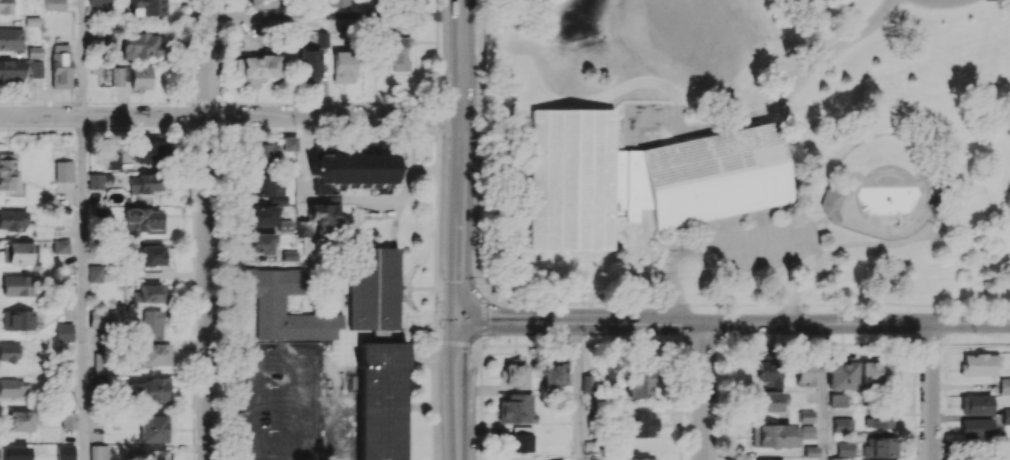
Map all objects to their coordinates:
road: (941, 2)
building: (262, 3)
building: (54, 5)
building: (339, 5)
building: (9, 6)
building: (97, 6)
building: (148, 8)
road: (331, 14)
building: (32, 20)
street lamp: (891, 21)
park: (667, 27)
building: (11, 39)
building: (138, 45)
building: (395, 51)
road: (80, 58)
building: (60, 65)
building: (257, 65)
building: (309, 66)
building: (343, 66)
building: (19, 69)
building: (132, 76)
road: (797, 81)
road: (229, 116)
parking lot: (647, 121)
road: (651, 129)
building: (289, 143)
building: (147, 151)
building: (261, 154)
park: (742, 154)
building: (112, 160)
road: (458, 161)
road: (477, 162)
building: (350, 169)
building: (63, 170)
building: (7, 171)
building: (642, 178)
building: (95, 181)
building: (145, 183)
building: (262, 186)
building: (829, 206)
building: (933, 207)
building: (99, 213)
building: (325, 214)
building: (260, 215)
building: (12, 220)
building: (146, 220)
road: (824, 228)
road: (207, 229)
road: (970, 235)
building: (261, 243)
road: (876, 243)
building: (60, 246)
parking lot: (754, 247)
road: (743, 248)
building: (17, 252)
building: (149, 254)
building: (94, 273)
road: (809, 276)
street lamp: (486, 281)
road: (670, 284)
building: (18, 285)
road: (81, 288)
building: (372, 289)
building: (147, 293)
street lamp: (436, 300)
street lamp: (804, 300)
road: (661, 303)
building: (269, 304)
road: (906, 305)
building: (101, 317)
building: (17, 319)
traffic signals: (458, 323)
road: (734, 323)
traffic signals: (800, 323)
building: (151, 324)
building: (64, 332)
street lamp: (668, 334)
street lamp: (816, 334)
street lamp: (976, 334)
street lamp: (587, 335)
street lamp: (735, 336)
street lamp: (494, 338)
building: (10, 351)
building: (153, 354)
building: (102, 363)
building: (978, 364)
building: (768, 370)
building: (878, 372)
building: (554, 373)
building: (806, 373)
building: (842, 373)
building: (513, 374)
building: (588, 383)
building: (638, 383)
building: (1004, 385)
building: (15, 387)
building: (149, 390)
road: (458, 391)
road: (578, 391)
road: (705, 391)
road: (821, 391)
road: (931, 391)
building: (838, 399)
building: (380, 400)
building: (769, 401)
building: (975, 404)
building: (516, 408)
building: (806, 416)
building: (1005, 416)
building: (878, 419)
building: (19, 420)
building: (67, 420)
building: (640, 423)
building: (843, 424)
building: (153, 428)
building: (975, 428)
building: (807, 431)
building: (775, 435)
building: (520, 442)
road: (970, 444)
building: (879, 447)
building: (844, 448)
building: (811, 451)
building: (98, 452)
building: (155, 454)
building: (639, 458)
building: (554, 459)

